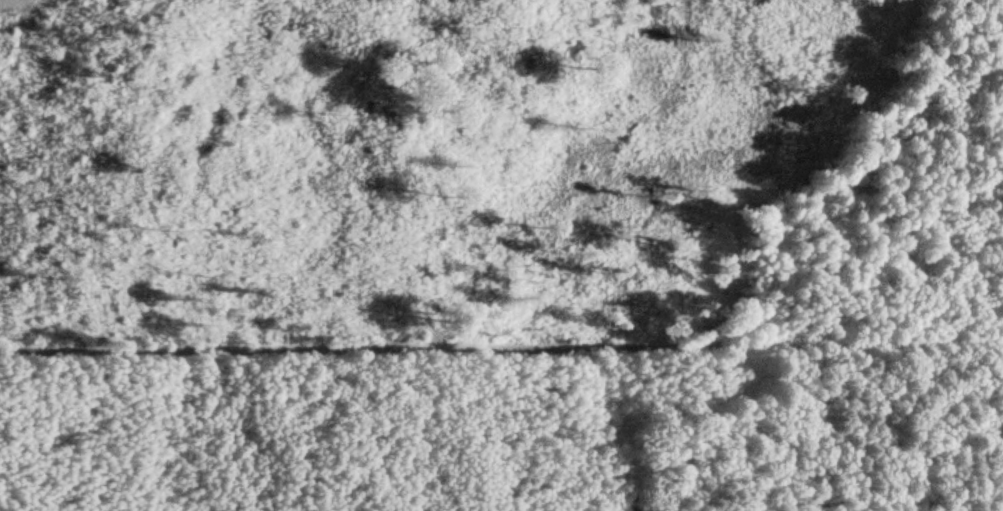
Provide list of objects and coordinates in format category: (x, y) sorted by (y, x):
road: (501, 347)

